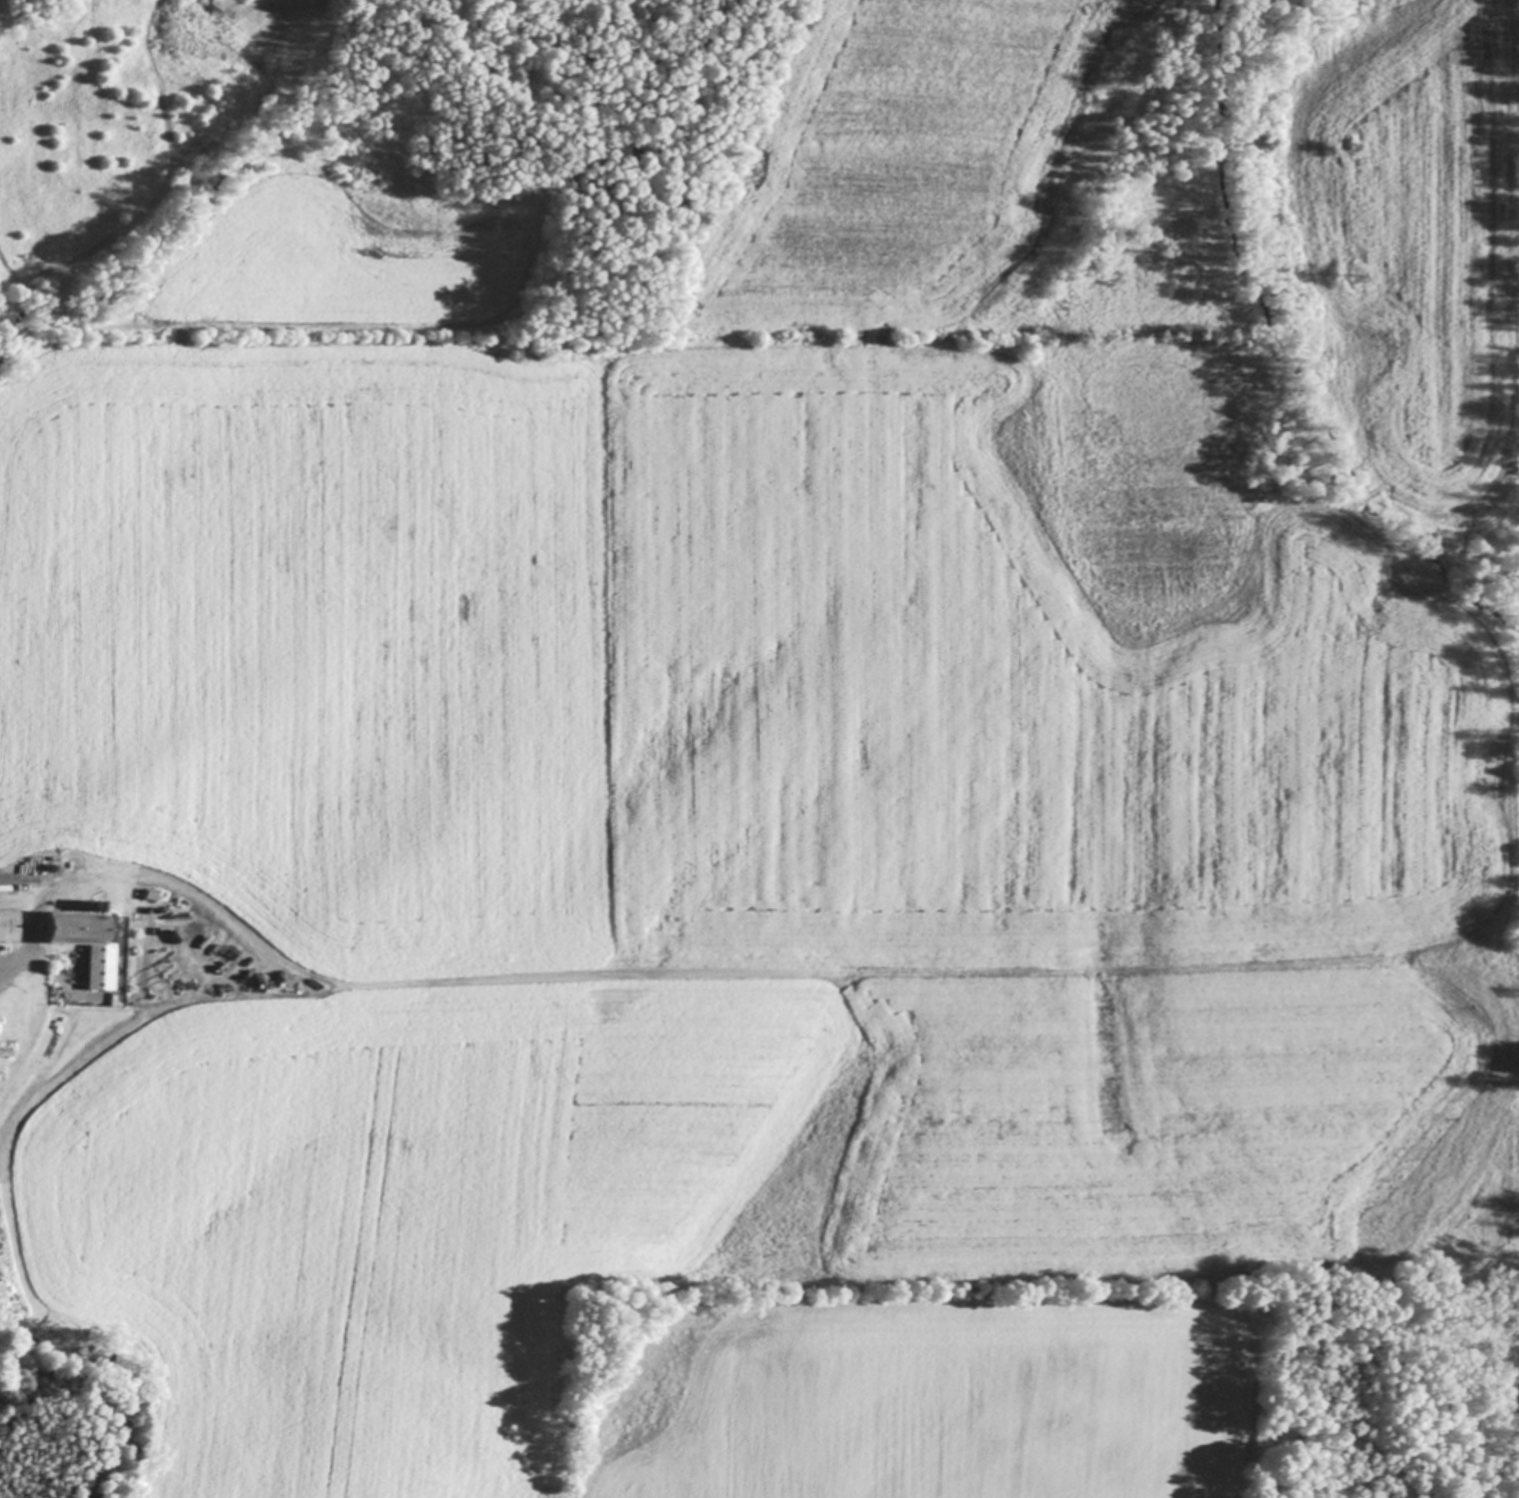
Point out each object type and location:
building: (9, 927)
building: (88, 943)
road: (4, 972)

